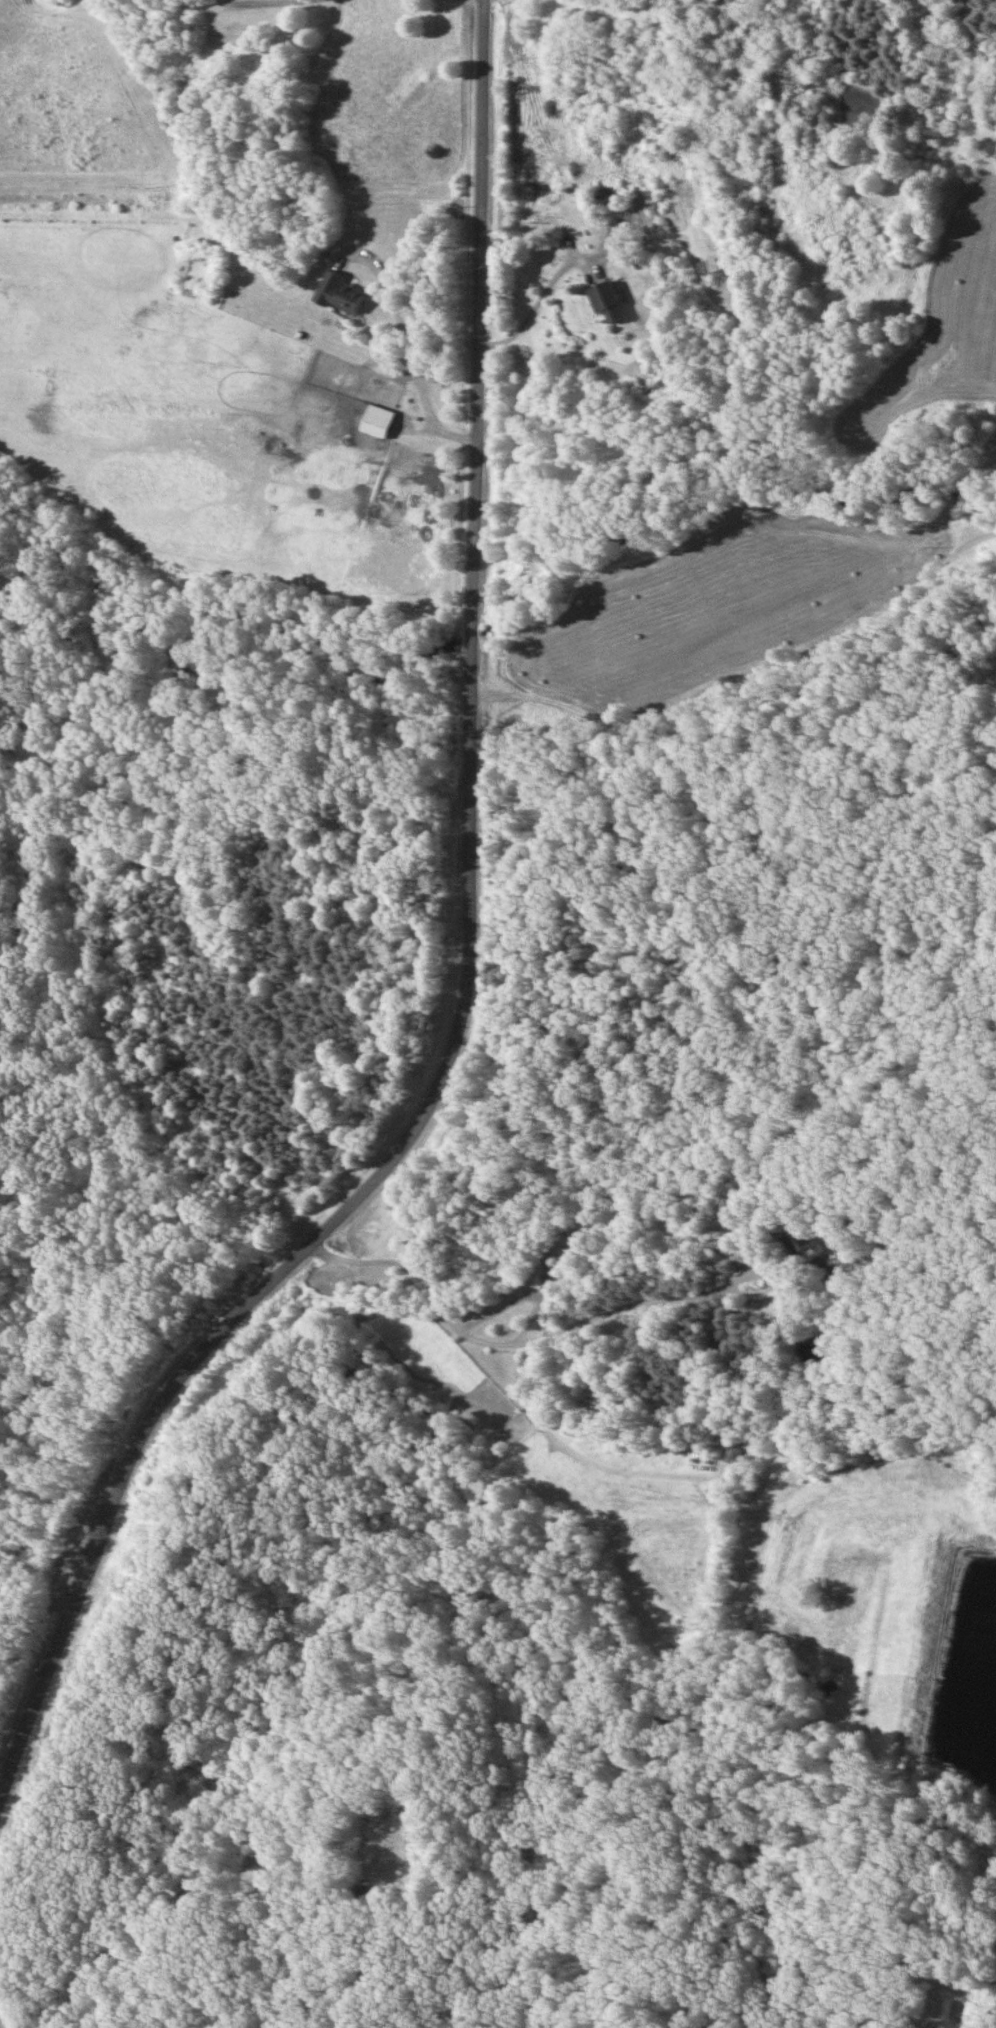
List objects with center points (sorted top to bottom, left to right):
road: (202, 4)
building: (336, 294)
road: (538, 296)
building: (603, 301)
road: (409, 347)
building: (374, 421)
road: (990, 536)
road: (739, 659)
road: (469, 962)
building: (807, 1251)
road: (529, 1340)
road: (915, 1996)

